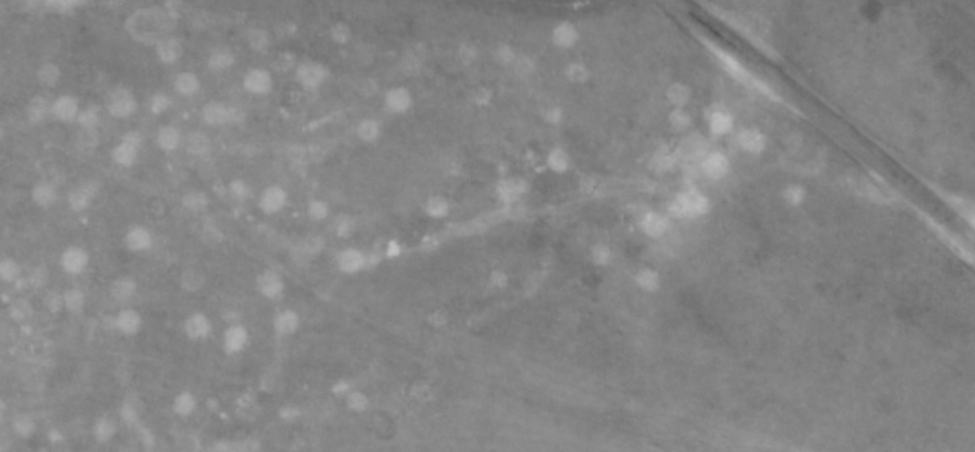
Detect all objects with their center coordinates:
road: (823, 120)

